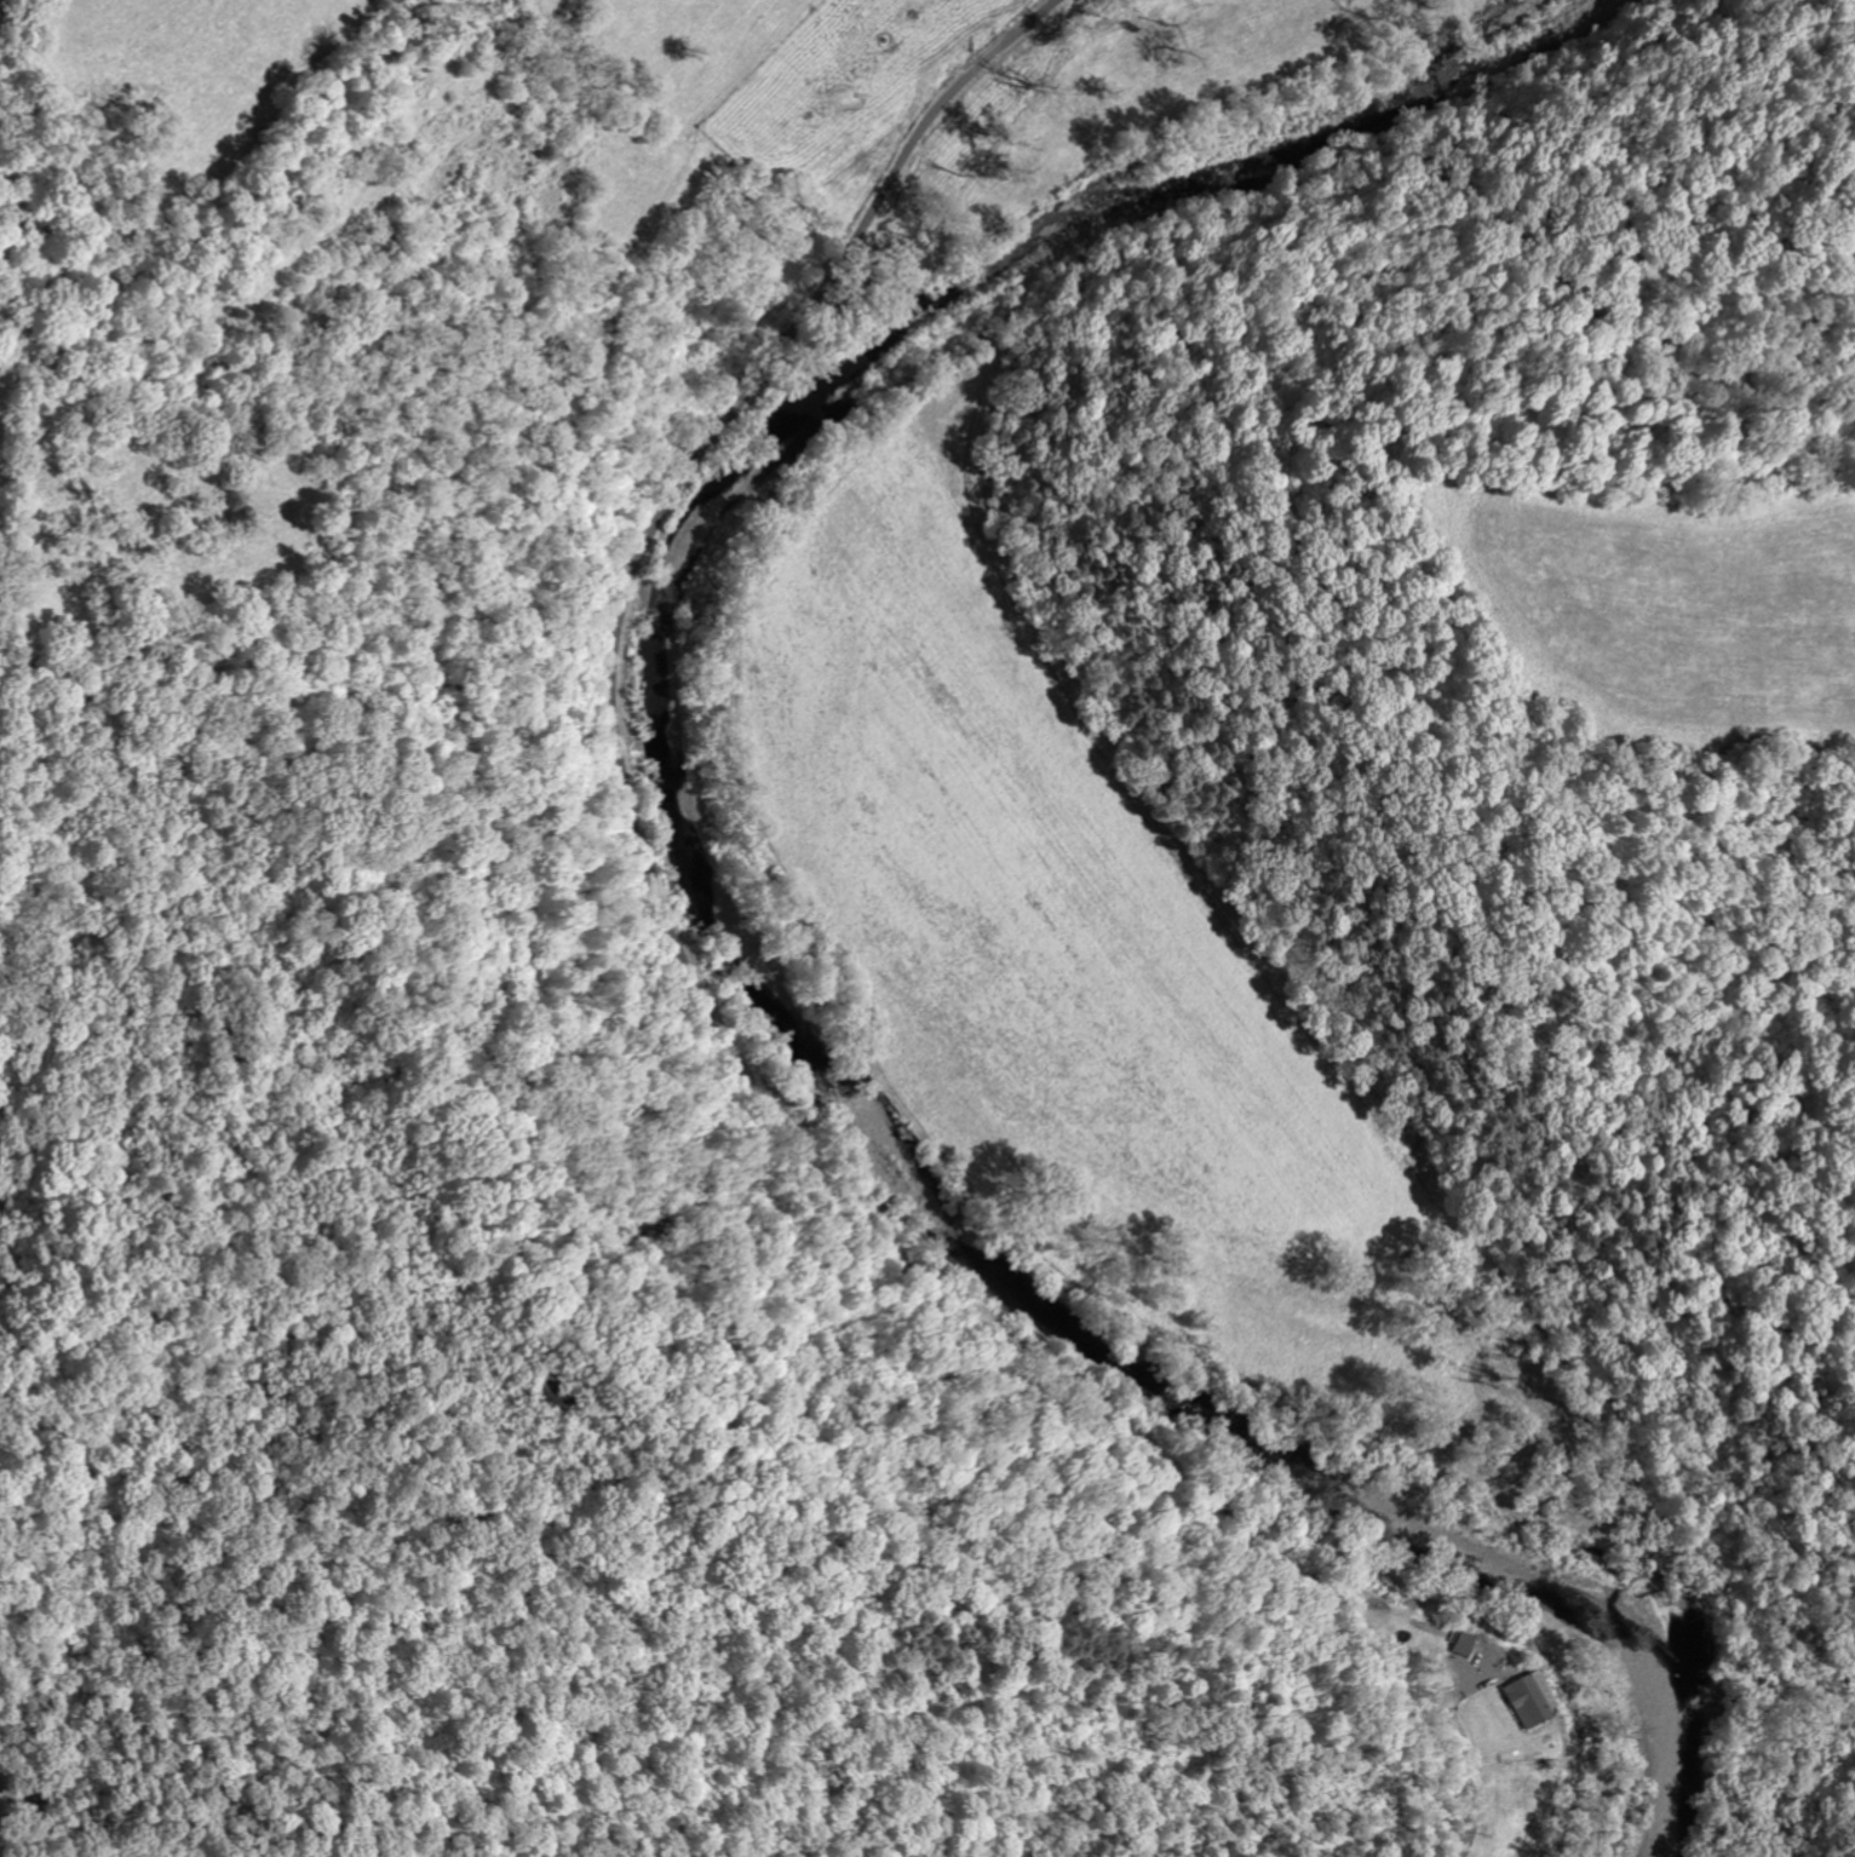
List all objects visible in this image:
road: (1007, 544)
road: (728, 1010)
building: (1461, 1645)
road: (1481, 1681)
road: (1458, 1695)
building: (1527, 1700)

